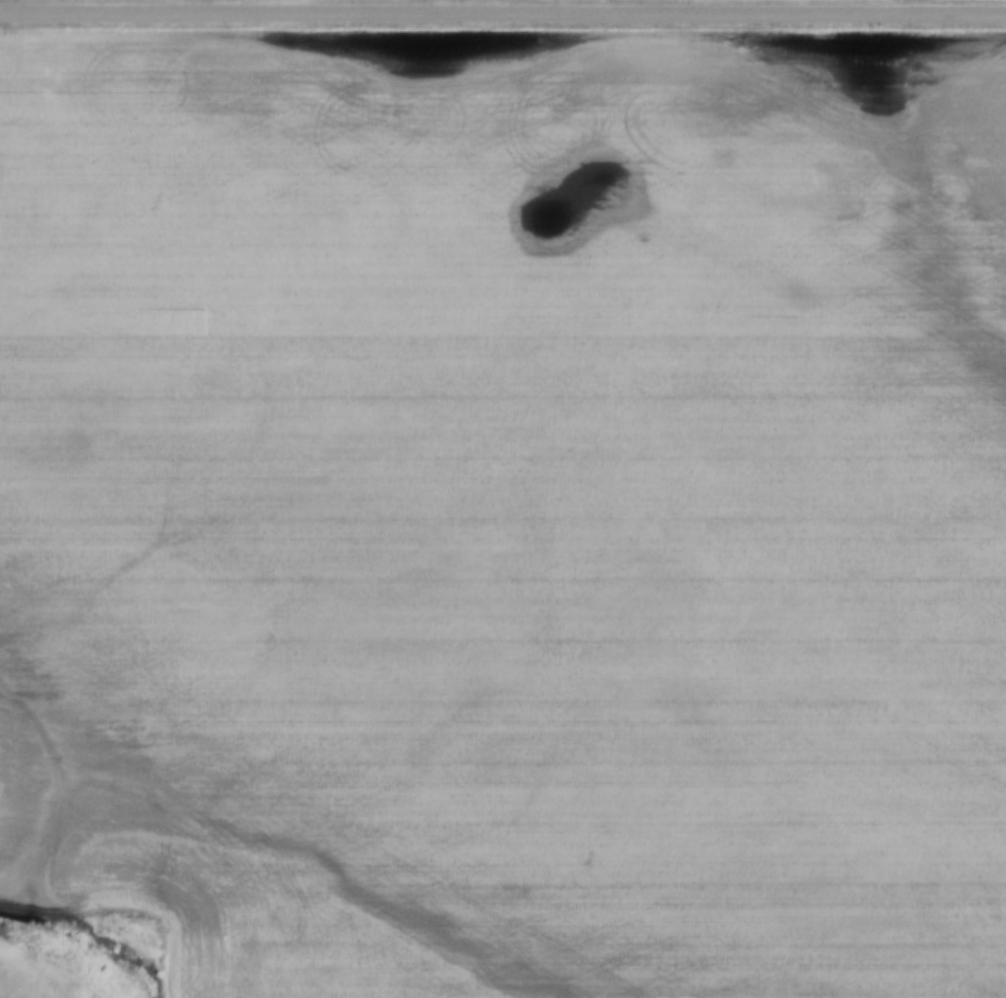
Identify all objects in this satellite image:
road: (503, 12)

